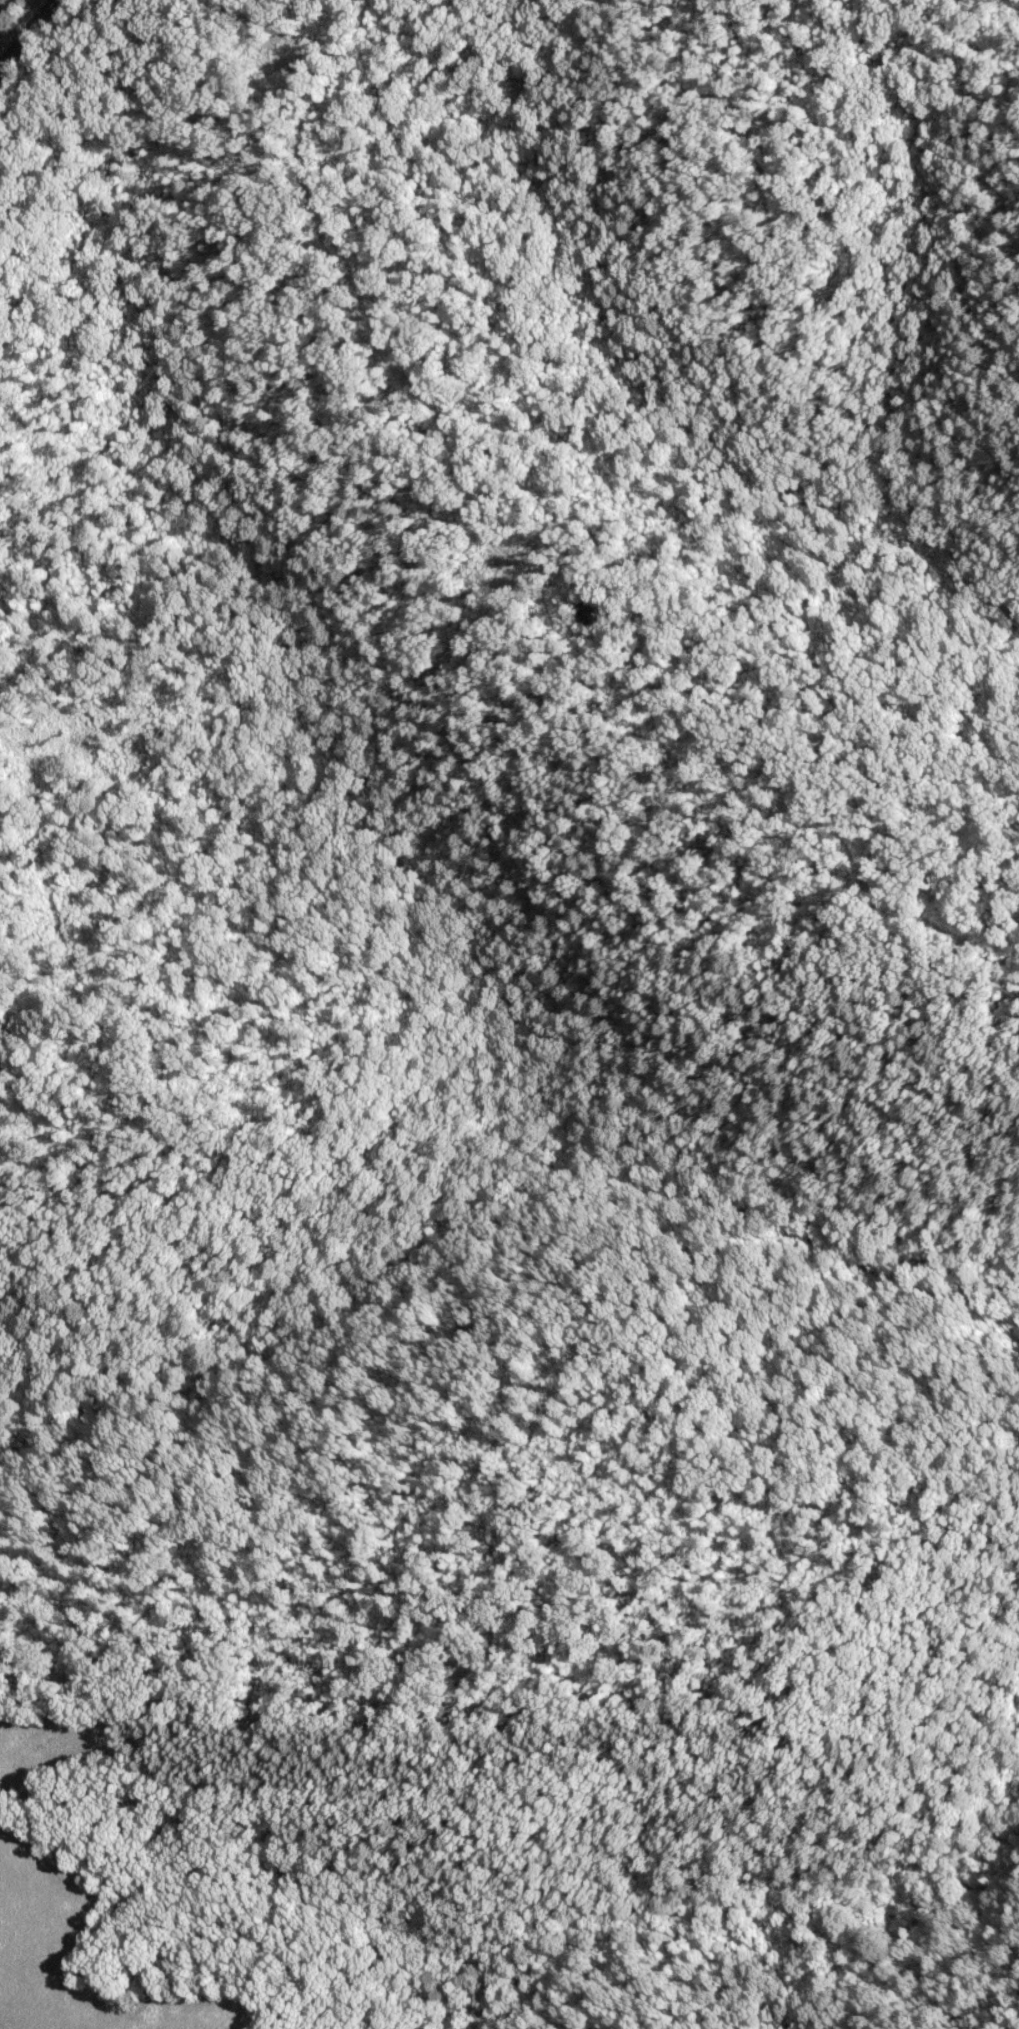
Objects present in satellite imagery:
road: (27, 38)

